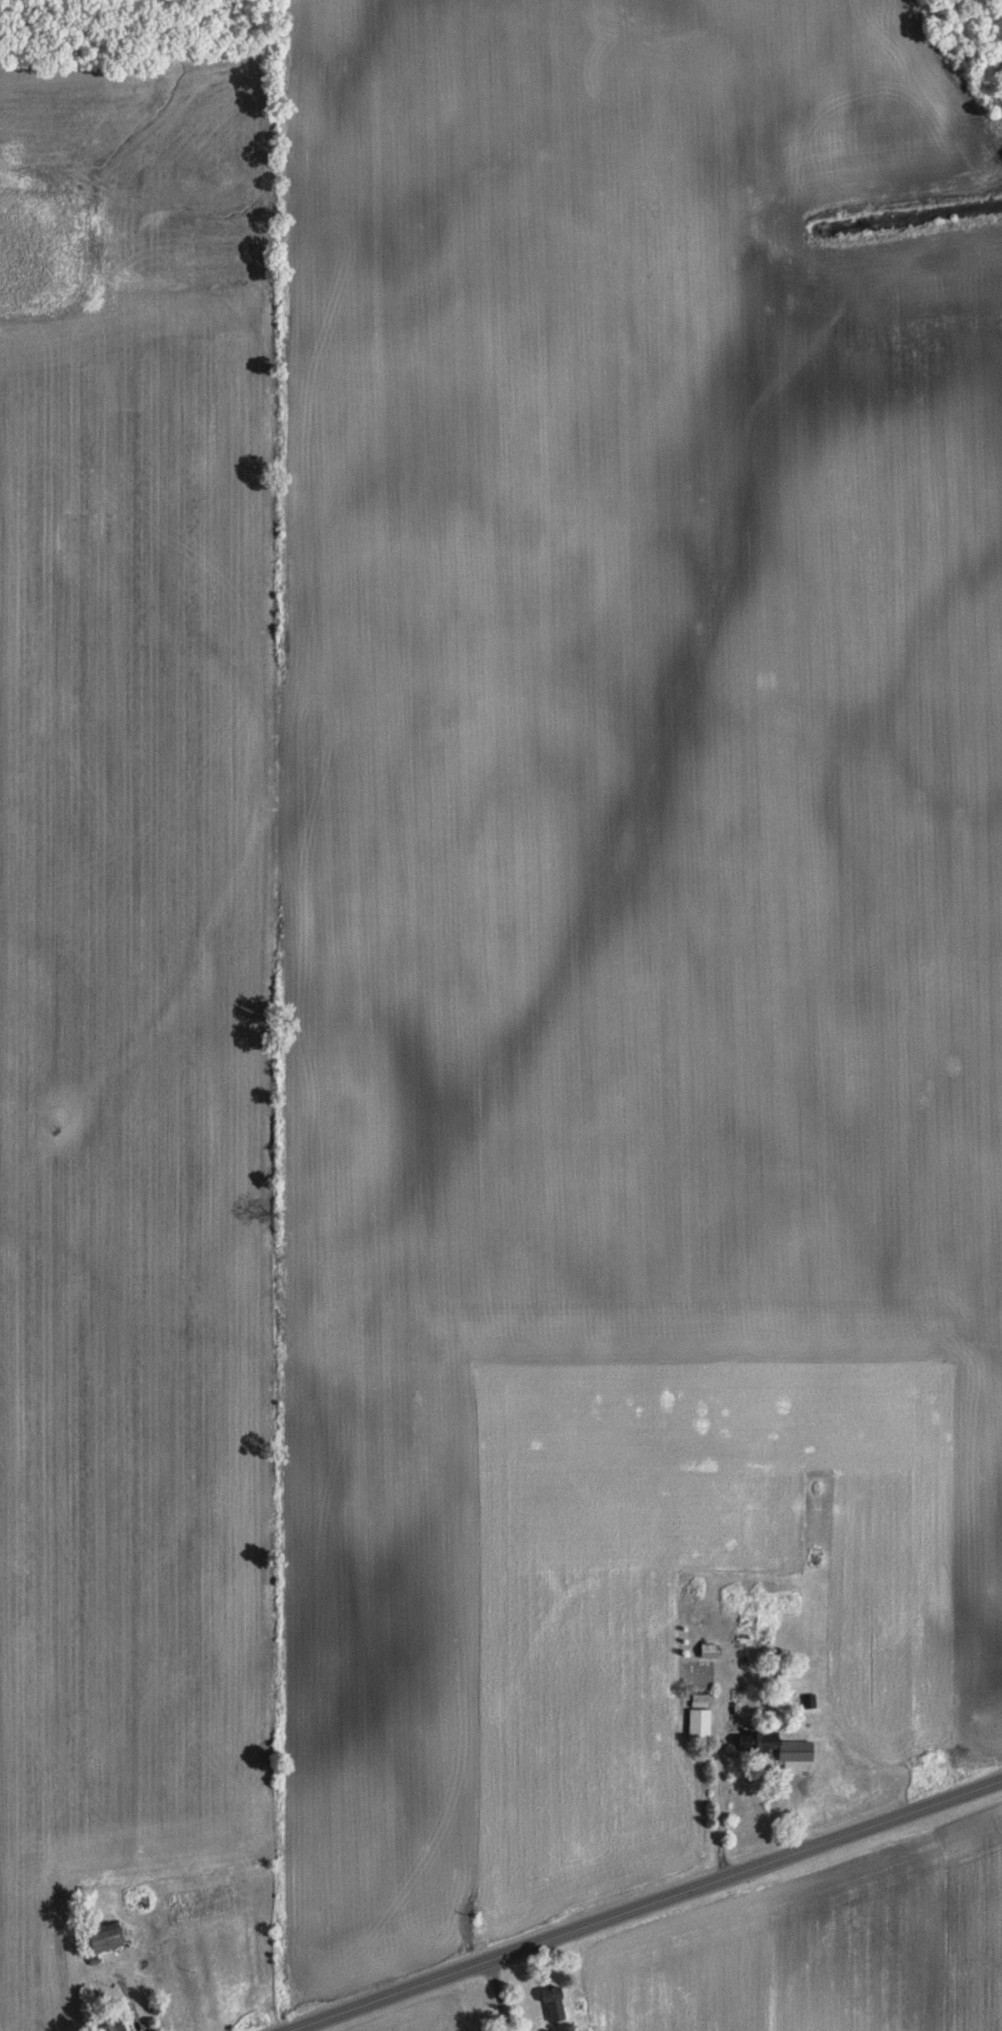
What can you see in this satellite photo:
building: (697, 1714)
building: (794, 1760)
road: (658, 1909)
building: (106, 1936)
crop: (837, 1957)
building: (552, 2001)
building: (112, 2025)
crop: (463, 2029)

